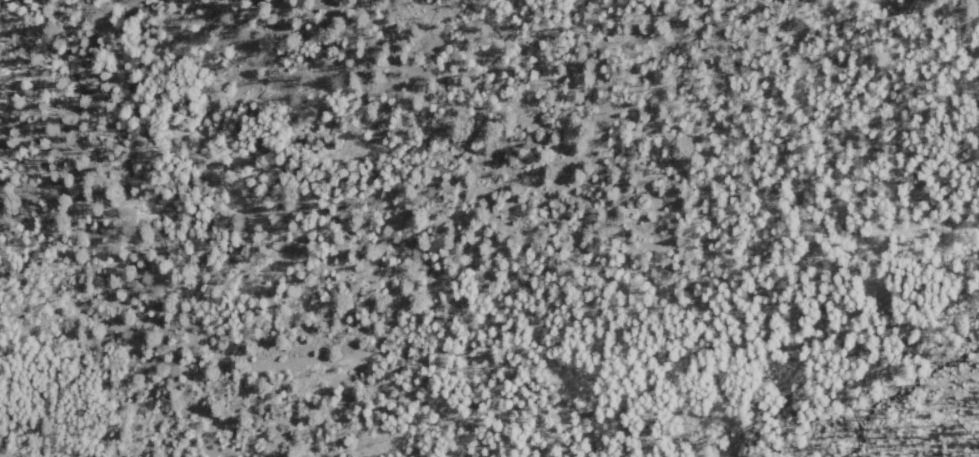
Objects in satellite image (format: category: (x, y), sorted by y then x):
road: (895, 396)

